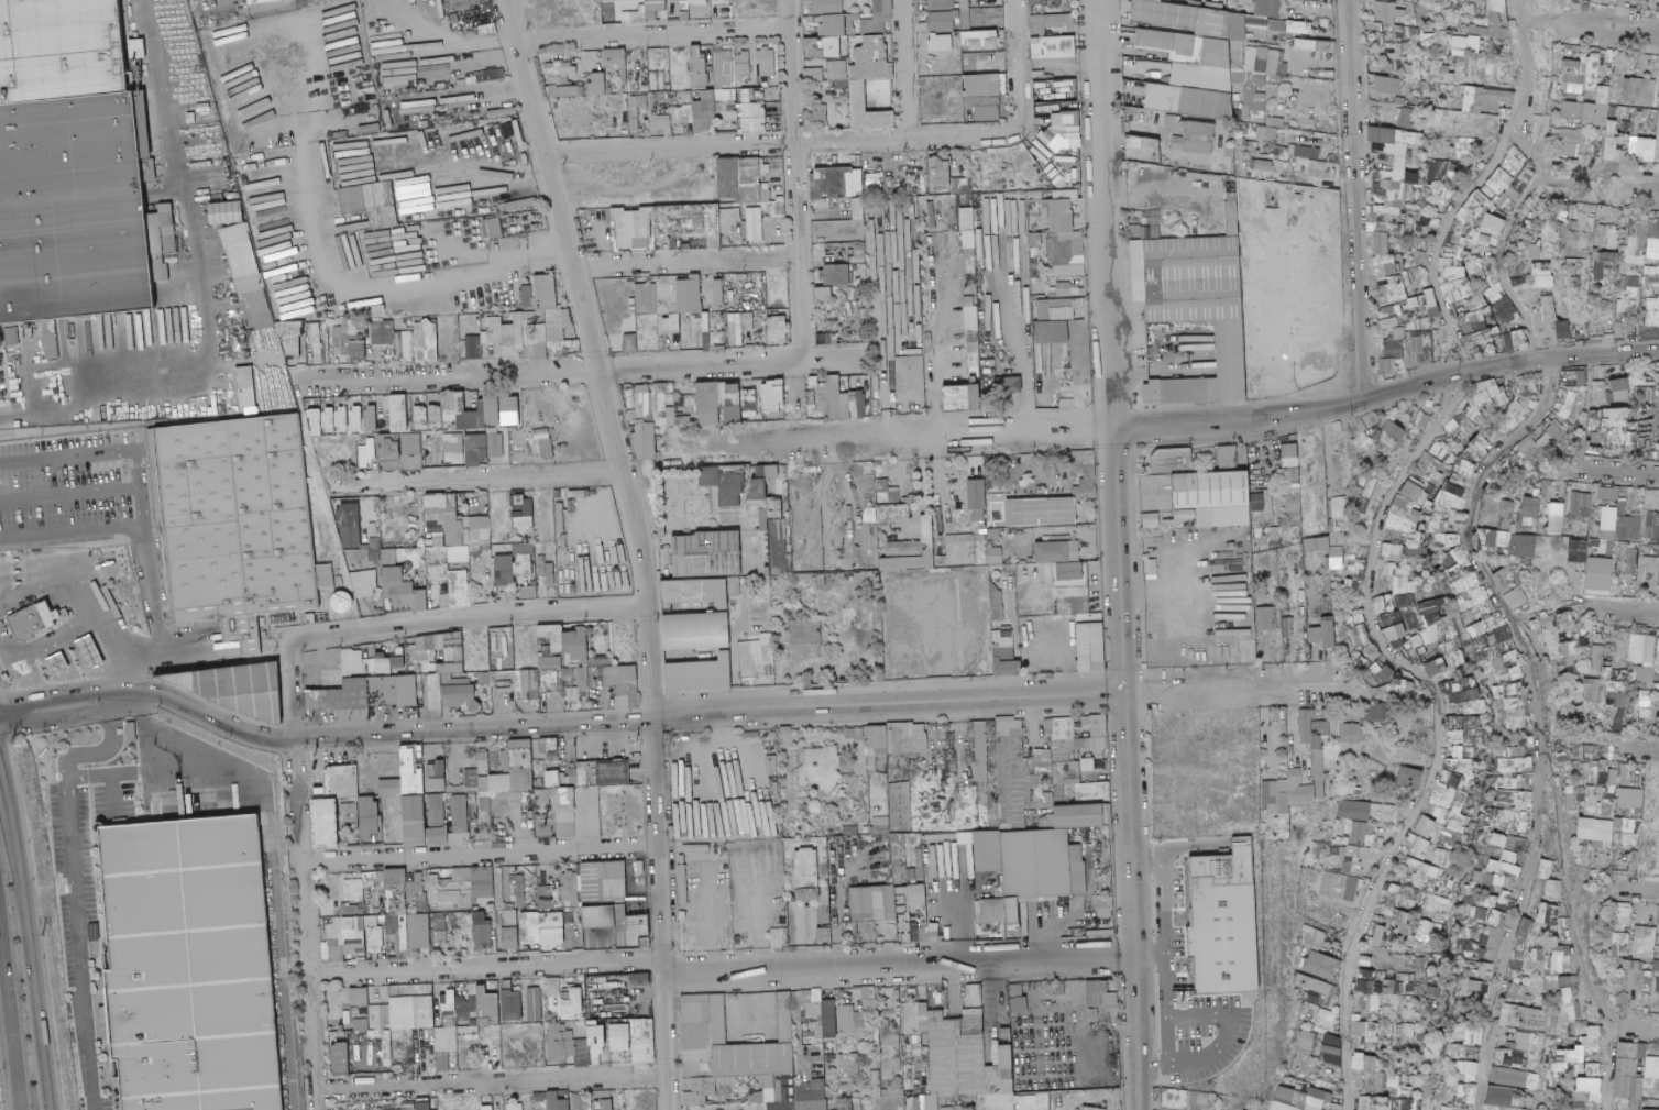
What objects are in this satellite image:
road: (1358, 204)
road: (1120, 554)
gas station: (91, 649)
gas station: (58, 660)
gas station: (22, 666)
power tower: (12, 739)
parking lot: (304, 747)
parking lot: (615, 748)
power tower: (42, 933)
parking lot: (1190, 980)

